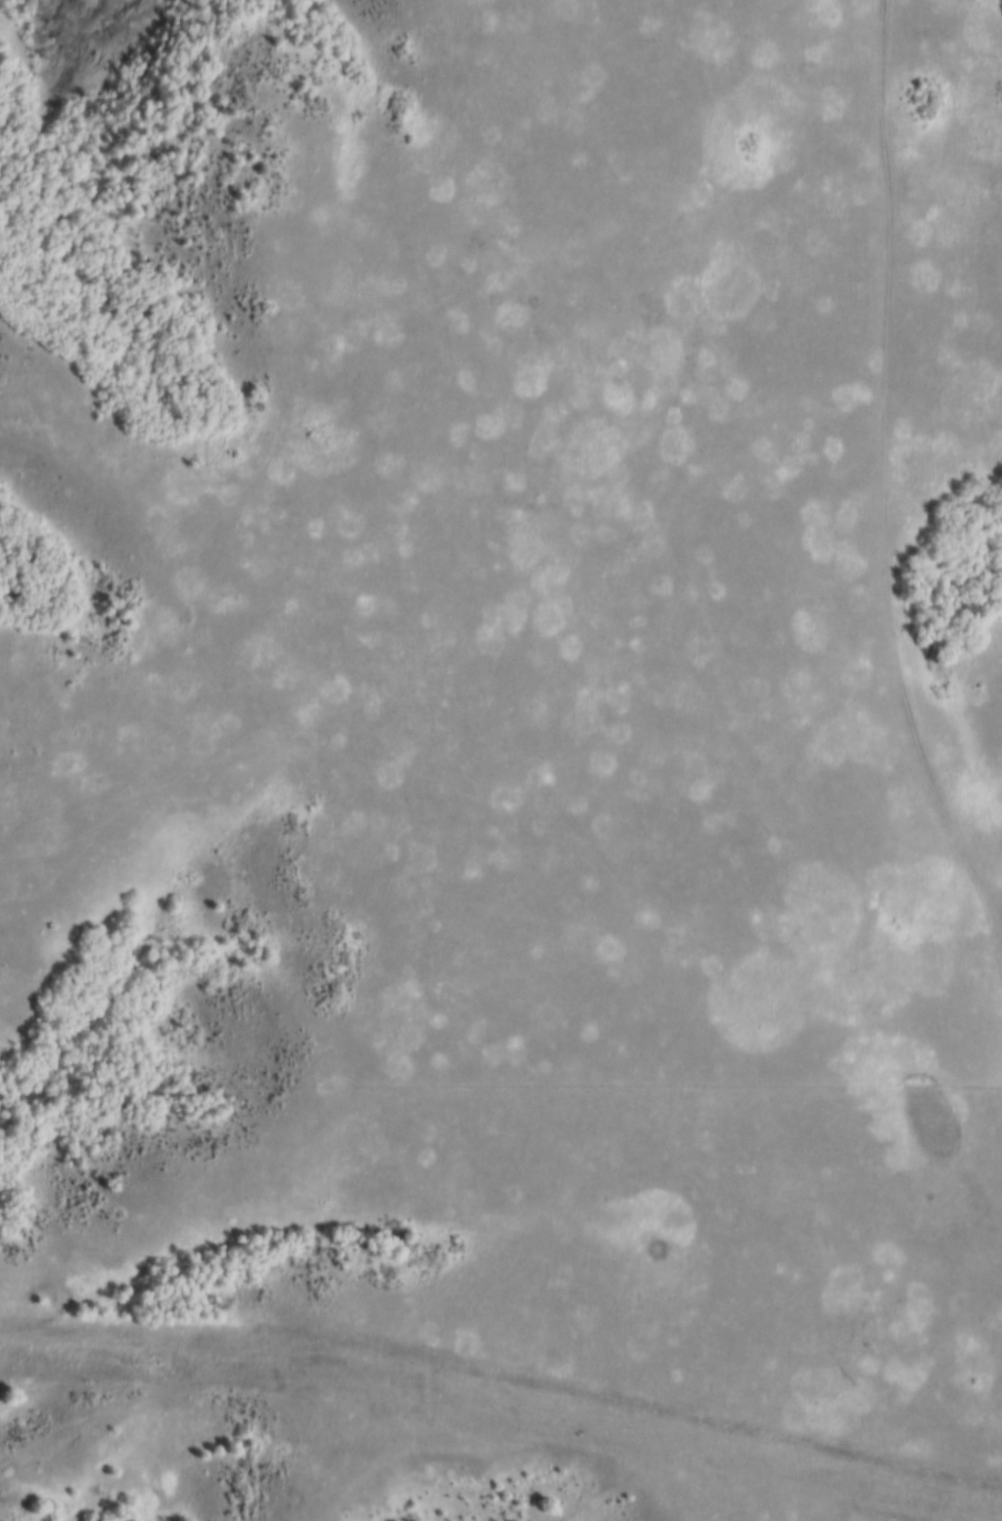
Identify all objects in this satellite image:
road: (886, 466)

